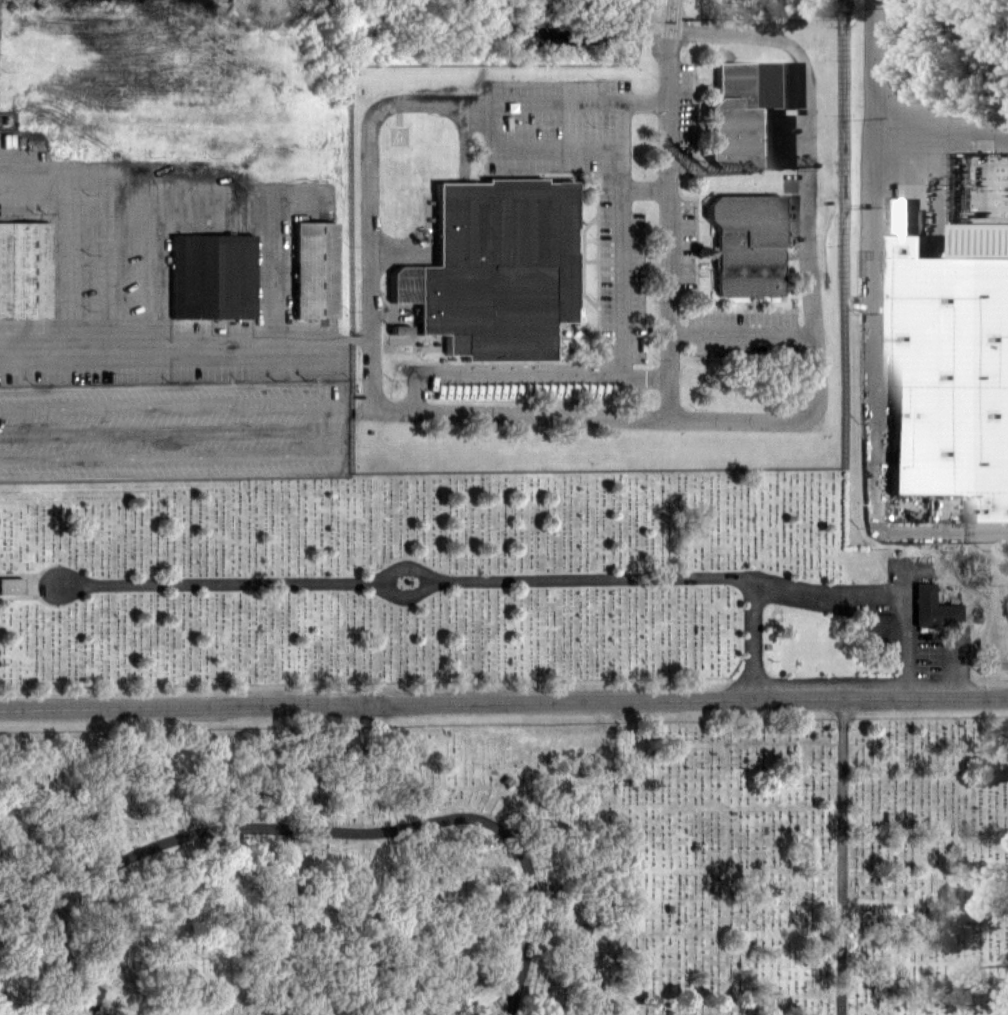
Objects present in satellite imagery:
road: (670, 10)
building: (744, 112)
road: (940, 137)
road: (535, 146)
road: (643, 186)
road: (806, 238)
road: (621, 239)
building: (744, 243)
road: (395, 248)
building: (497, 267)
building: (23, 269)
building: (312, 269)
building: (210, 275)
road: (873, 328)
building: (398, 329)
road: (738, 332)
road: (183, 346)
building: (951, 368)
road: (523, 376)
road: (418, 410)
road: (405, 565)
road: (651, 579)
building: (10, 584)
road: (220, 584)
road: (406, 595)
road: (875, 597)
building: (930, 607)
building: (876, 628)
park: (604, 688)
road: (503, 701)
road: (343, 831)
road: (841, 856)
park: (309, 870)
road: (38, 923)
road: (66, 957)
road: (502, 1004)
road: (125, 1006)

